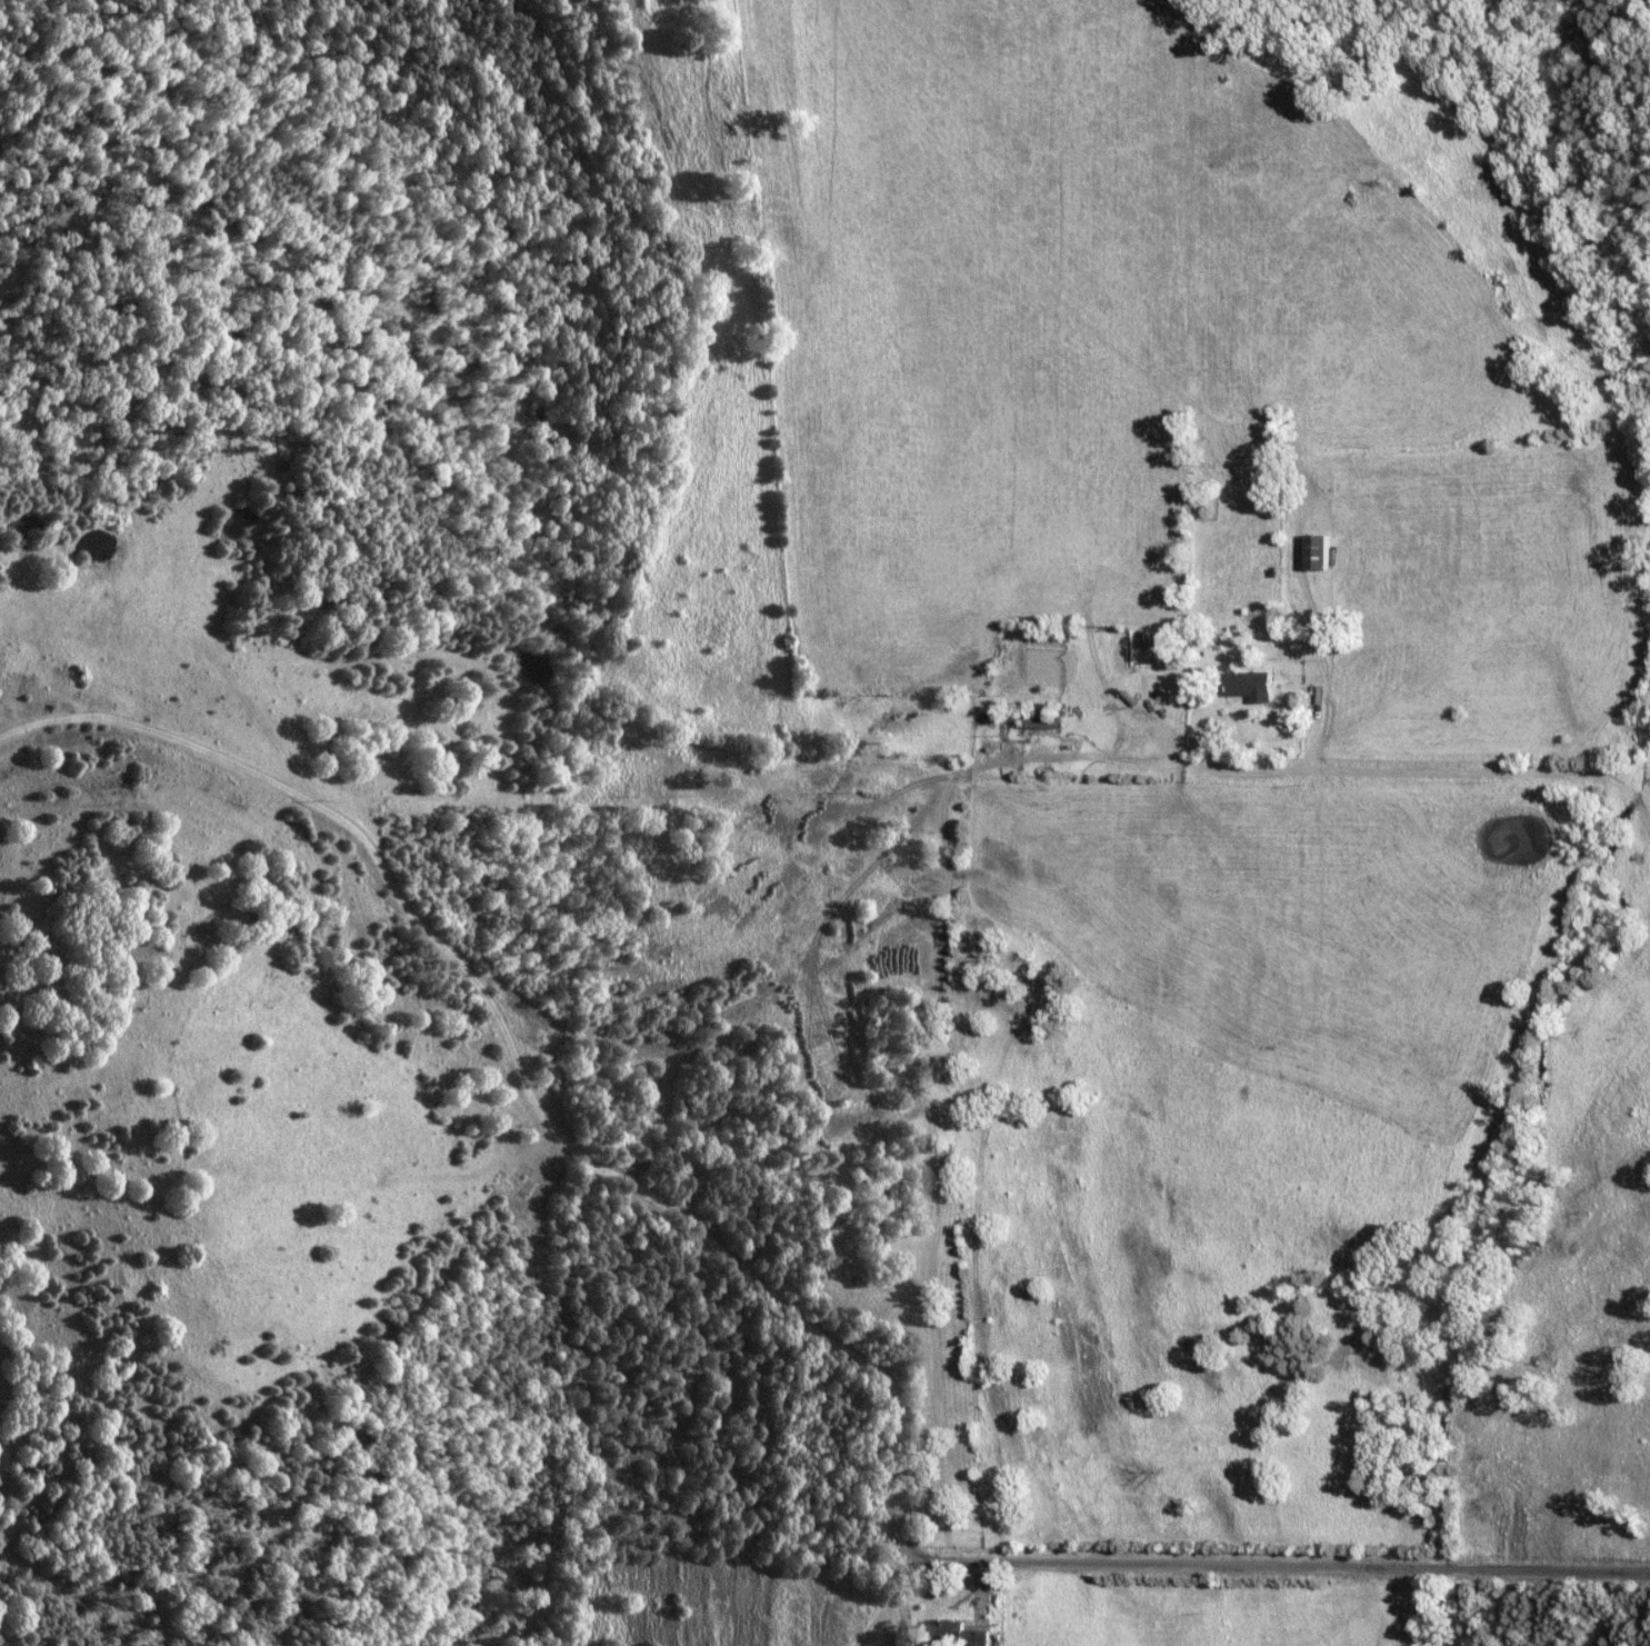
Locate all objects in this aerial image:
building: (1320, 553)
building: (1251, 685)
road: (1427, 775)
road: (517, 1068)
road: (1282, 1566)
building: (963, 1634)

